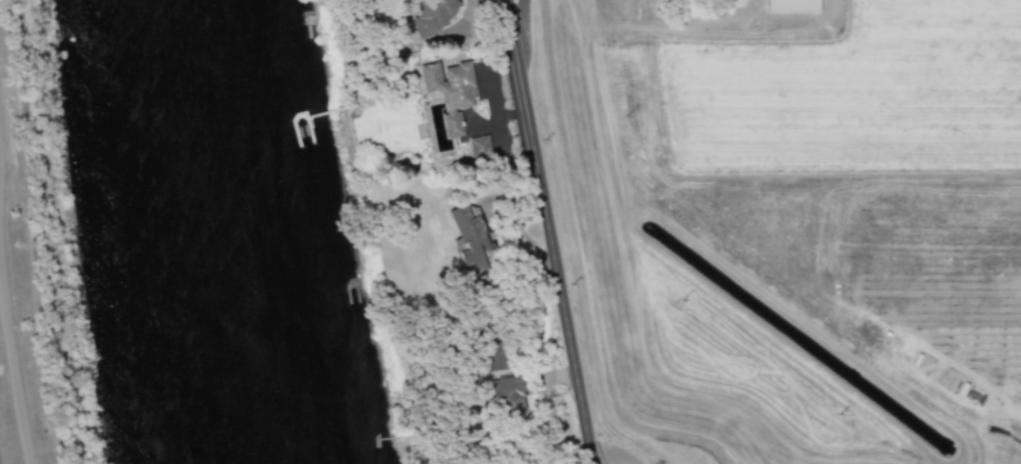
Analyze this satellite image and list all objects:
building: (791, 5)
road: (516, 13)
building: (449, 91)
building: (479, 148)
river: (239, 232)
road: (550, 232)
building: (469, 238)
road: (13, 373)
building: (509, 392)

